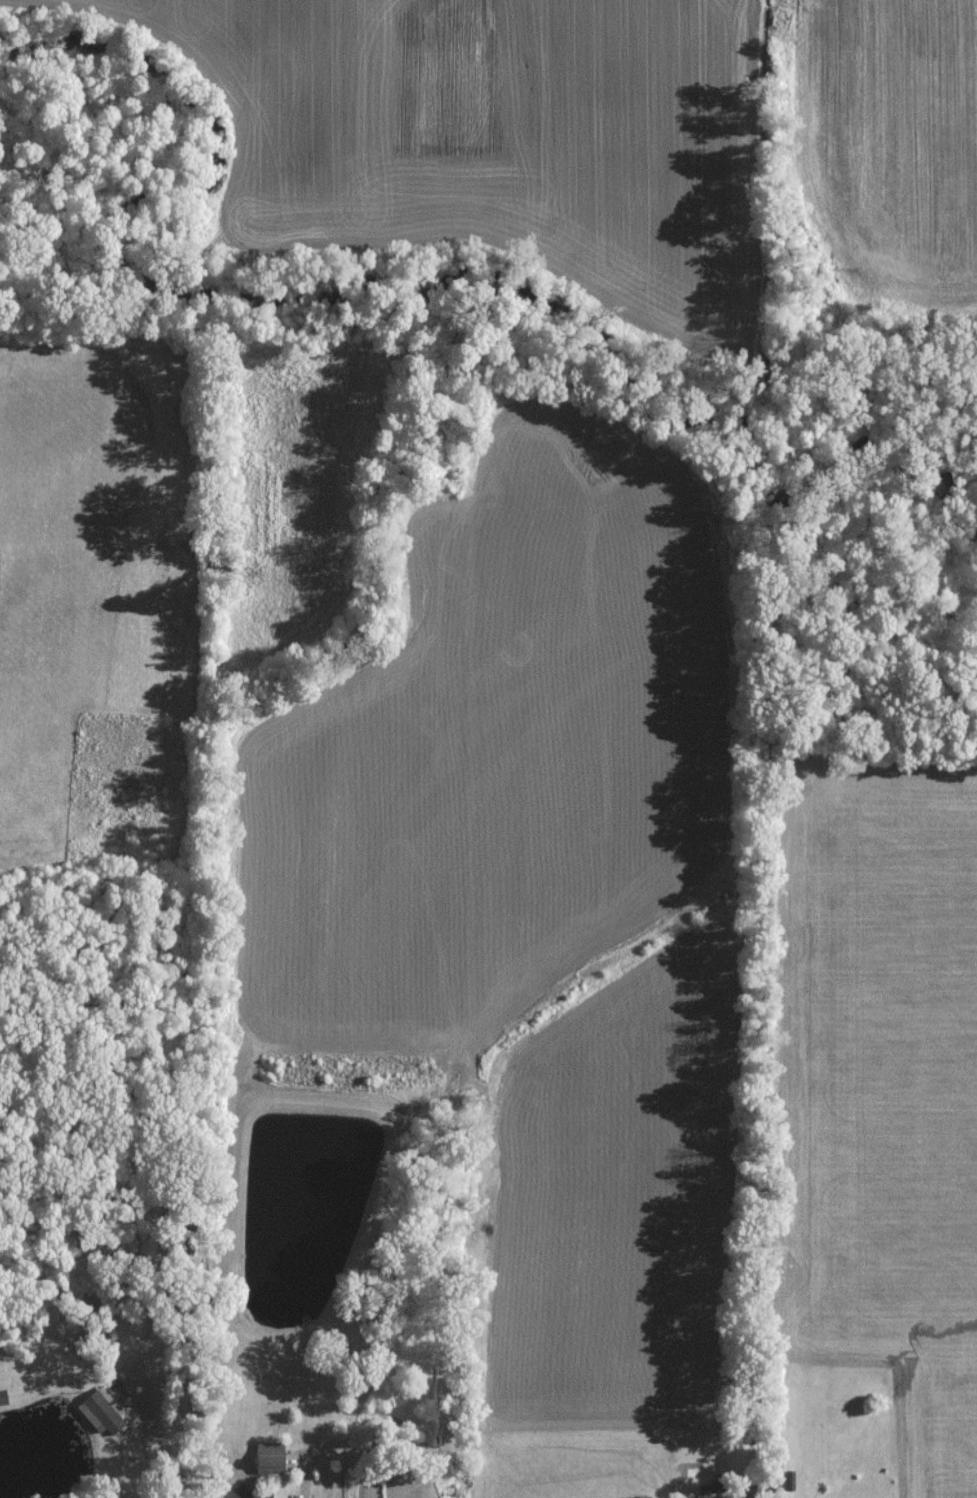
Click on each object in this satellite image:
road: (152, 1380)
building: (100, 1410)
building: (267, 1456)
road: (307, 1478)
building: (229, 1493)

